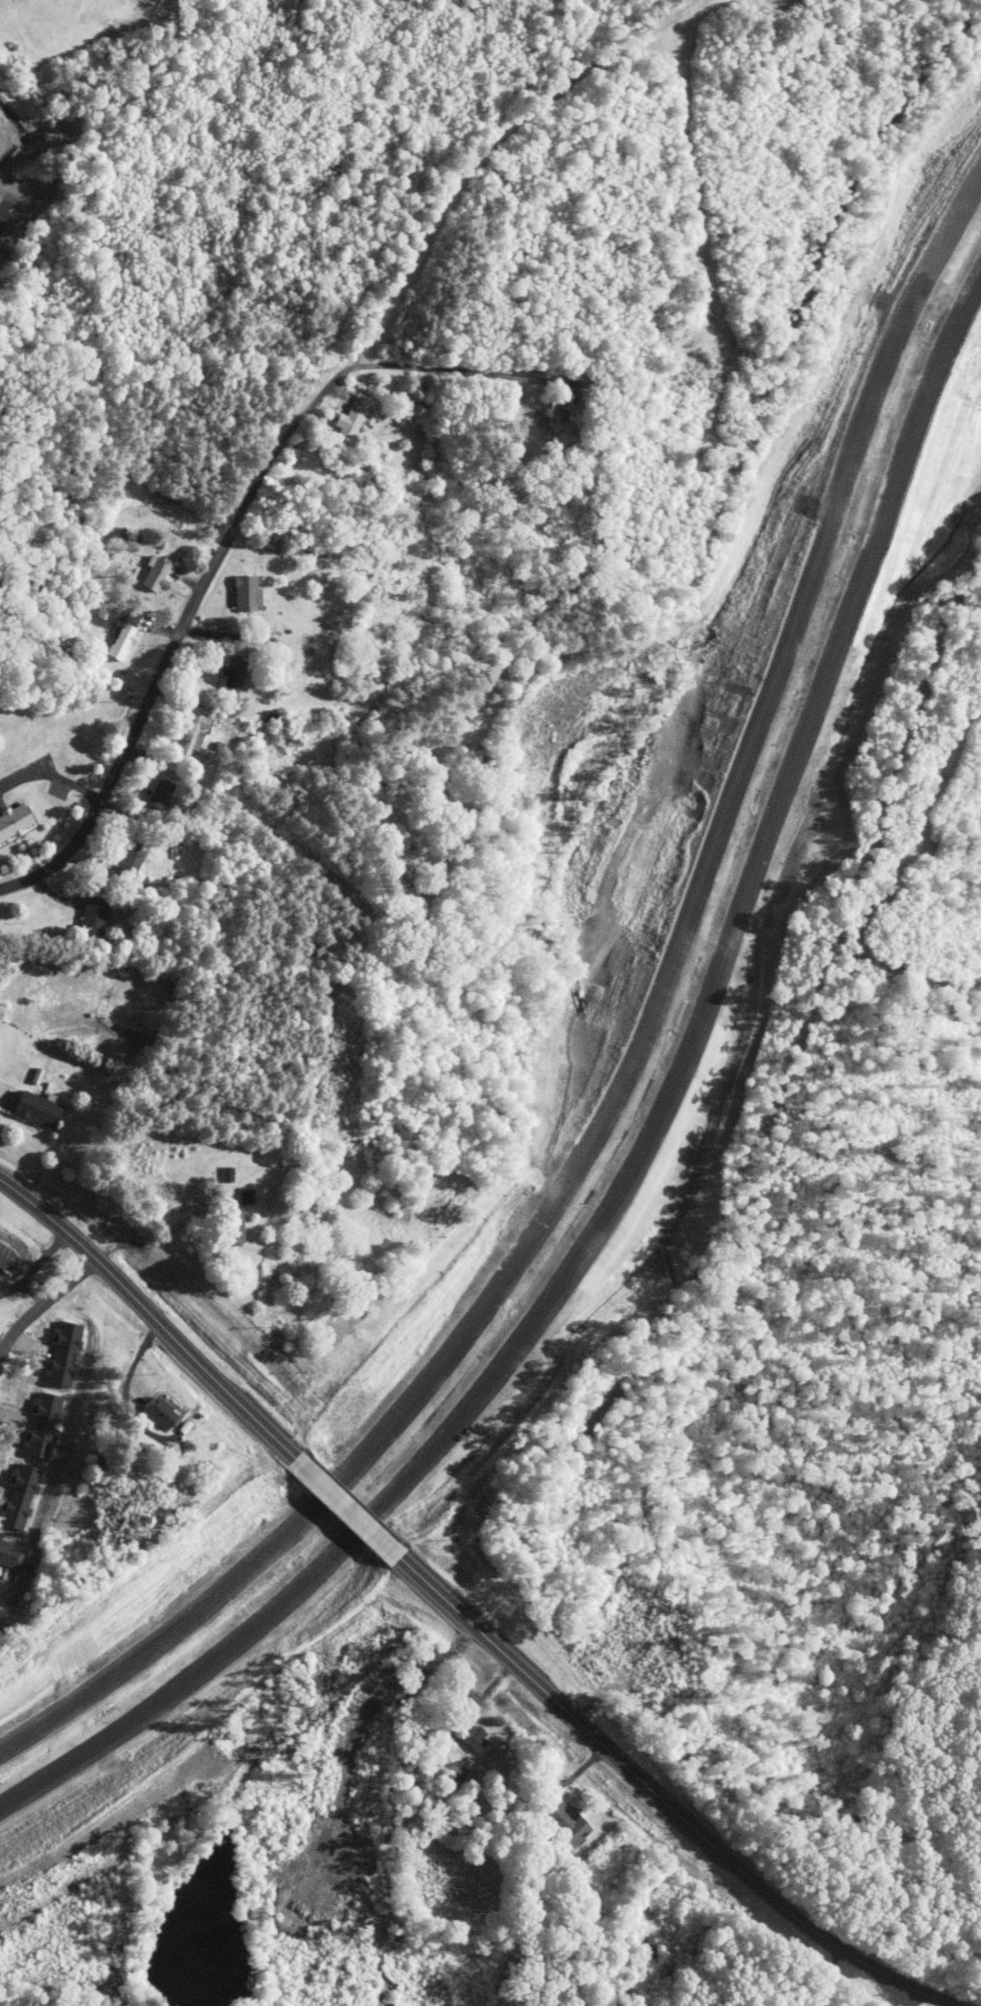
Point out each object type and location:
road: (441, 369)
building: (350, 418)
building: (555, 418)
building: (152, 574)
building: (244, 592)
road: (216, 633)
building: (121, 636)
road: (173, 645)
building: (229, 673)
building: (192, 734)
building: (159, 793)
building: (11, 821)
building: (128, 860)
building: (90, 920)
road: (631, 1059)
building: (34, 1075)
road: (5, 1093)
building: (32, 1107)
road: (642, 1137)
building: (225, 1174)
building: (244, 1196)
building: (230, 1226)
road: (156, 1245)
road: (44, 1304)
road: (154, 1317)
building: (60, 1354)
building: (155, 1412)
building: (38, 1426)
building: (17, 1495)
road: (347, 1508)
building: (11, 1556)
building: (512, 1710)
building: (470, 1736)
road: (661, 1797)
building: (565, 1822)
road: (826, 1976)
road: (901, 1994)

